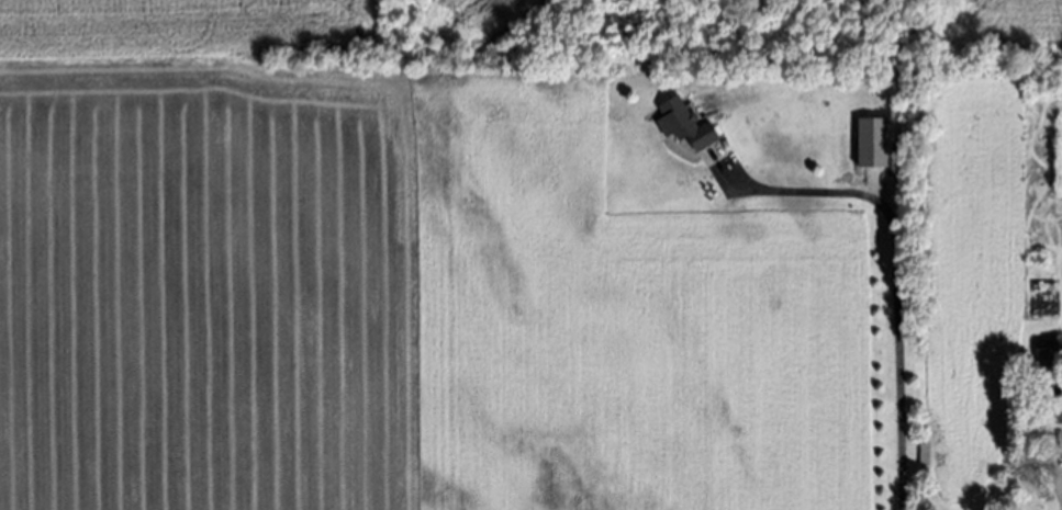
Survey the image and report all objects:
building: (686, 125)
building: (876, 141)
road: (896, 273)
building: (1052, 413)
building: (925, 453)

